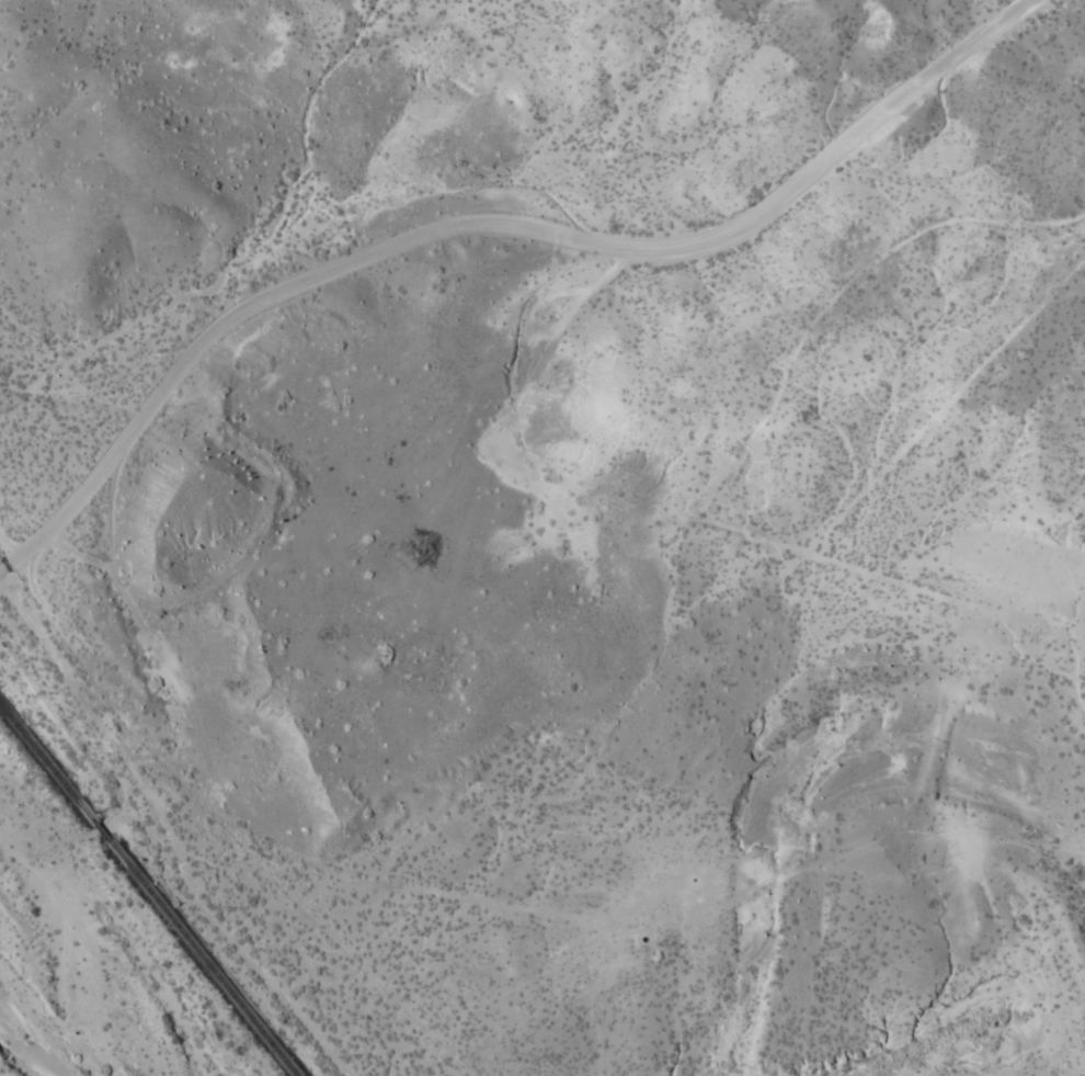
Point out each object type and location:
road: (488, 226)
road: (900, 548)
railway: (46, 760)
railway: (101, 829)
railway: (204, 956)

